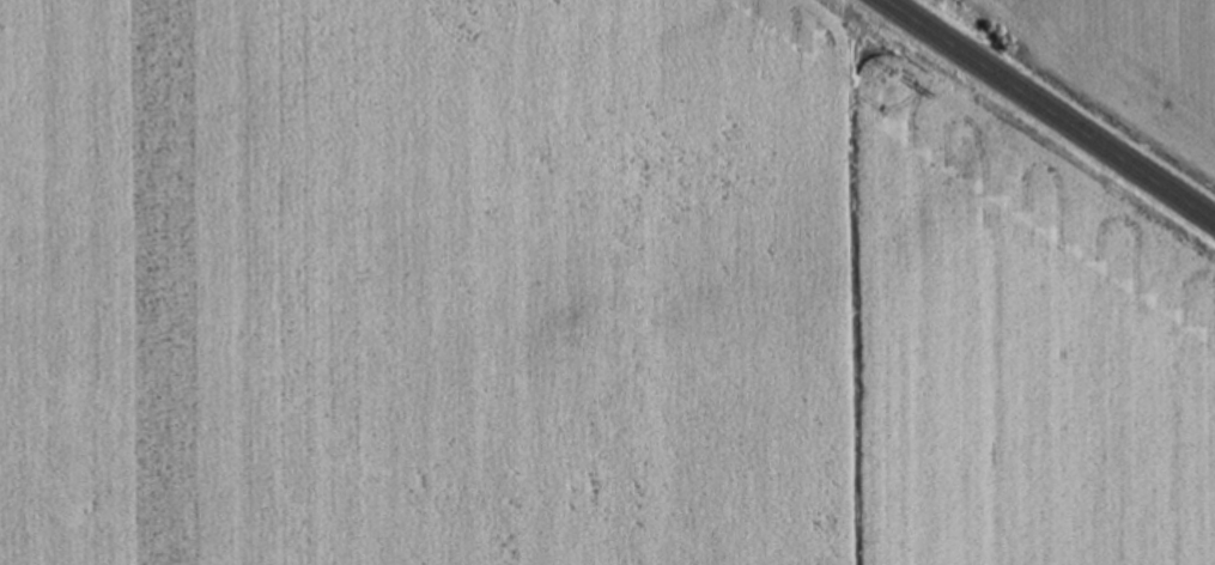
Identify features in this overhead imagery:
road: (1047, 111)

